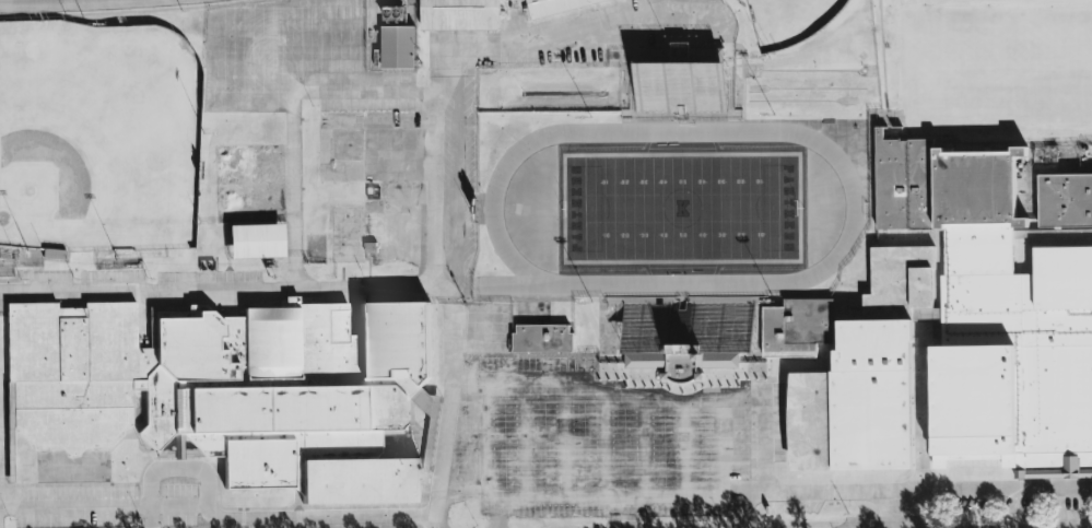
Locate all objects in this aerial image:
road: (79, 3)
road: (144, 3)
building: (557, 5)
road: (666, 5)
road: (39, 8)
building: (459, 15)
park: (788, 20)
building: (397, 42)
building: (680, 83)
road: (451, 105)
road: (291, 108)
park: (98, 138)
stadium: (680, 199)
building: (1065, 199)
track: (520, 204)
park: (680, 208)
building: (255, 242)
road: (225, 286)
building: (978, 313)
building: (797, 327)
building: (686, 330)
building: (542, 339)
building: (230, 388)
road: (756, 398)
building: (850, 421)
road: (994, 488)
road: (847, 491)
road: (103, 505)
road: (1072, 507)
road: (739, 511)
road: (431, 512)
road: (496, 513)
road: (621, 513)
road: (243, 518)

